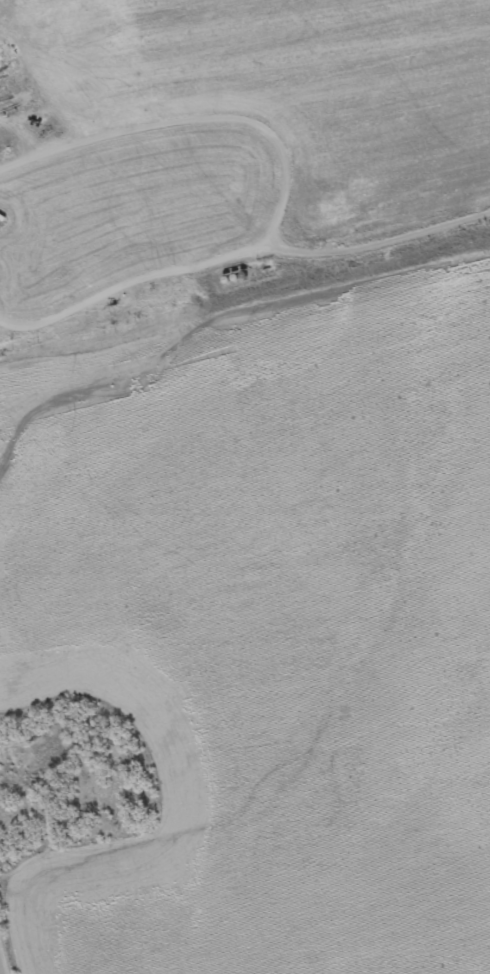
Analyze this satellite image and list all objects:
road: (5, 954)

